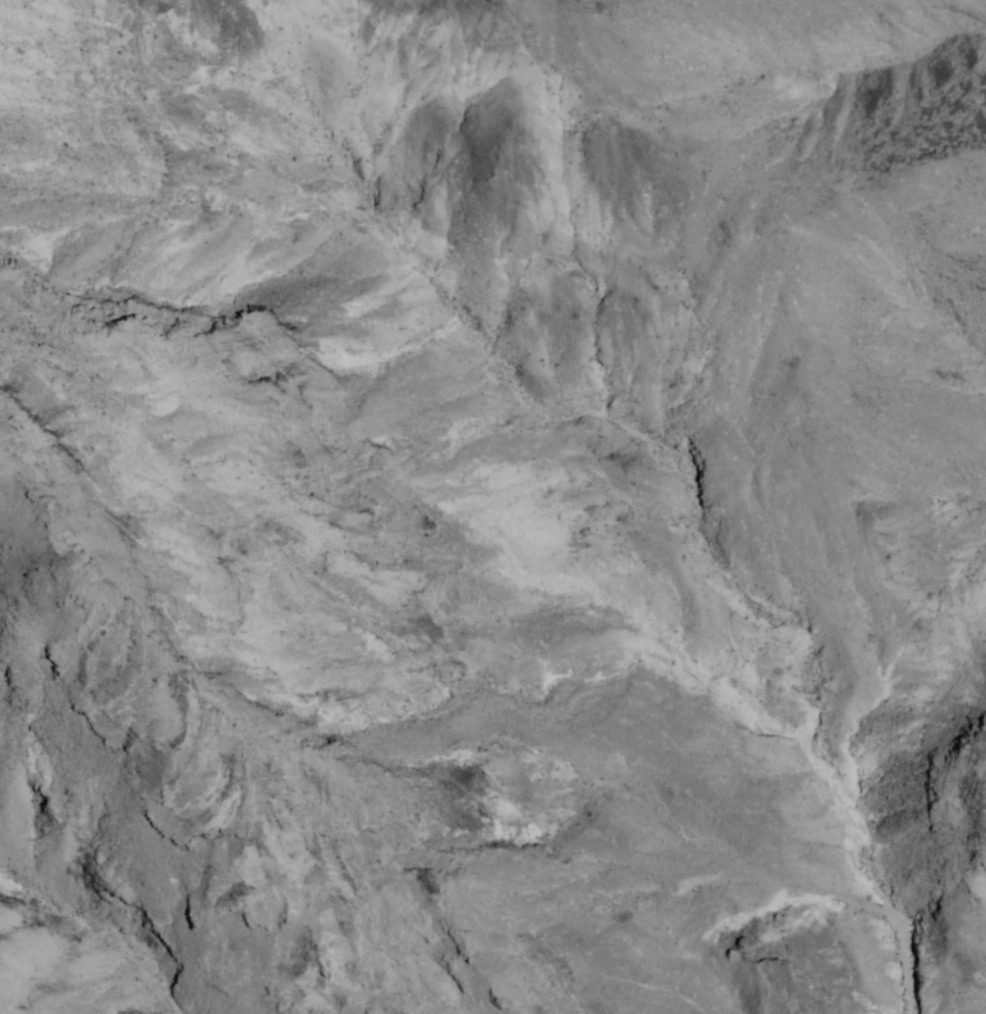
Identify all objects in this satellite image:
road: (905, 964)

